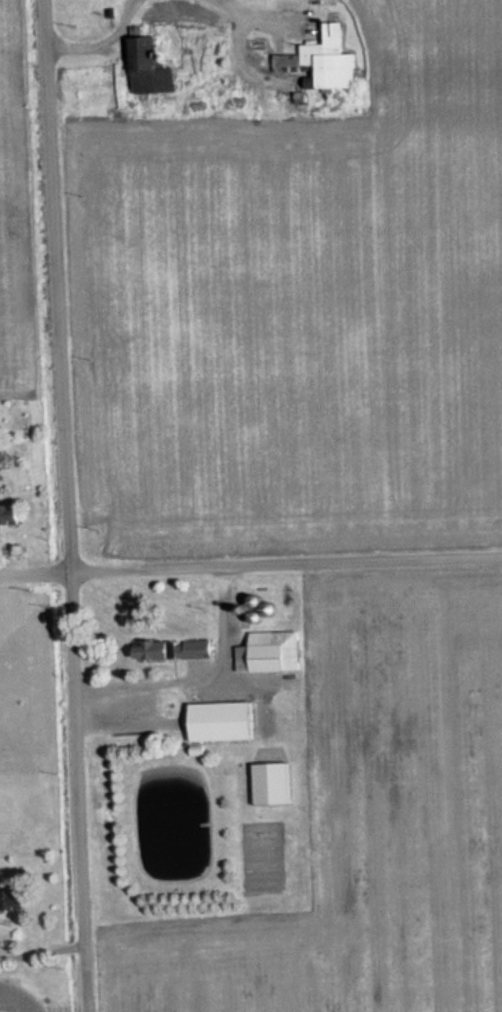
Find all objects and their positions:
road: (254, 16)
road: (101, 42)
crop: (432, 53)
building: (151, 70)
crop: (4, 268)
crop: (288, 328)
road: (68, 485)
road: (322, 559)
road: (70, 570)
building: (223, 722)
crop: (366, 824)
road: (86, 992)
crop: (17, 999)

